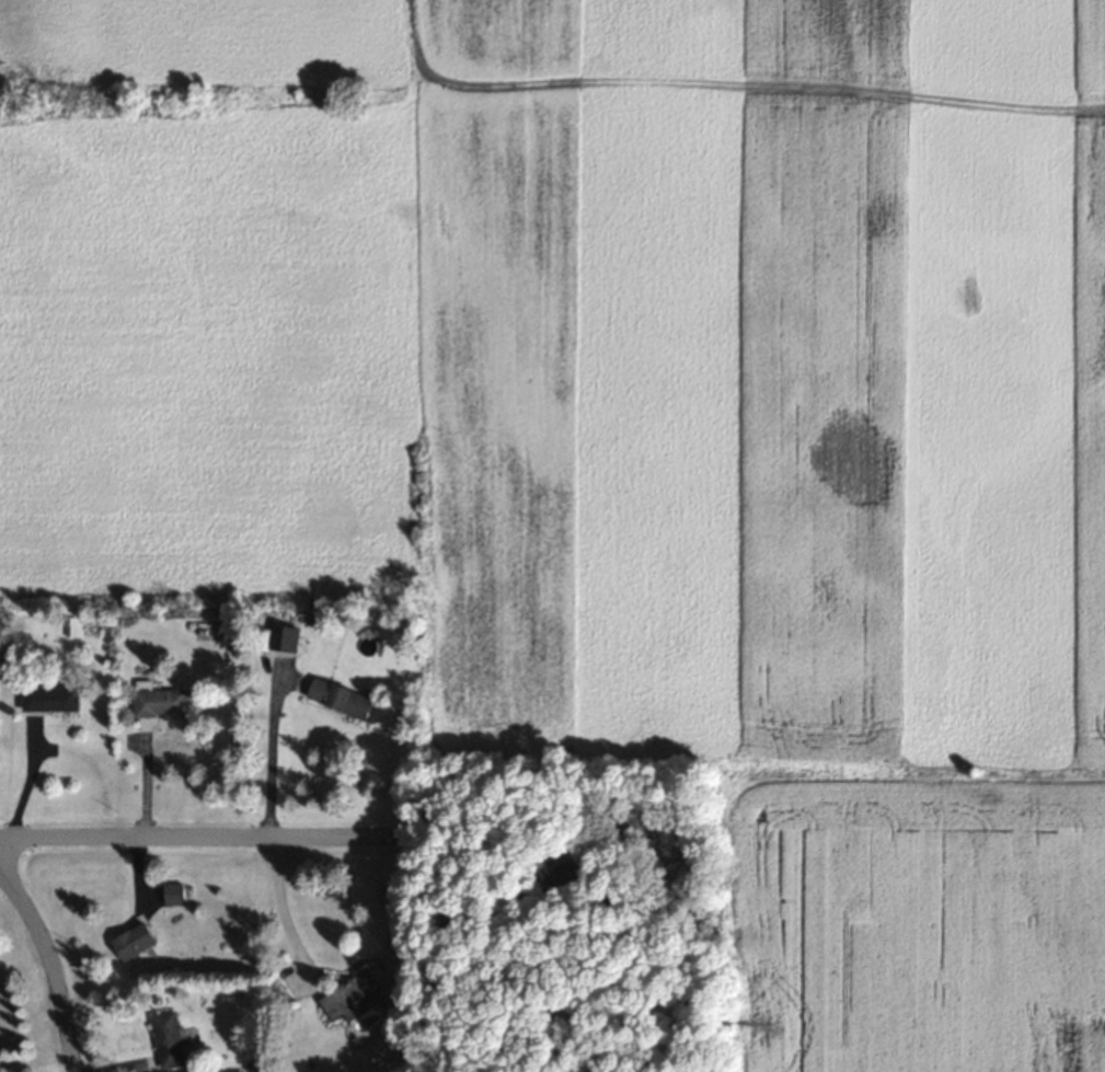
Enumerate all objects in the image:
building: (343, 696)
building: (51, 698)
building: (160, 699)
road: (197, 838)
building: (174, 892)
building: (136, 938)
road: (50, 960)
building: (349, 994)
building: (169, 1038)

